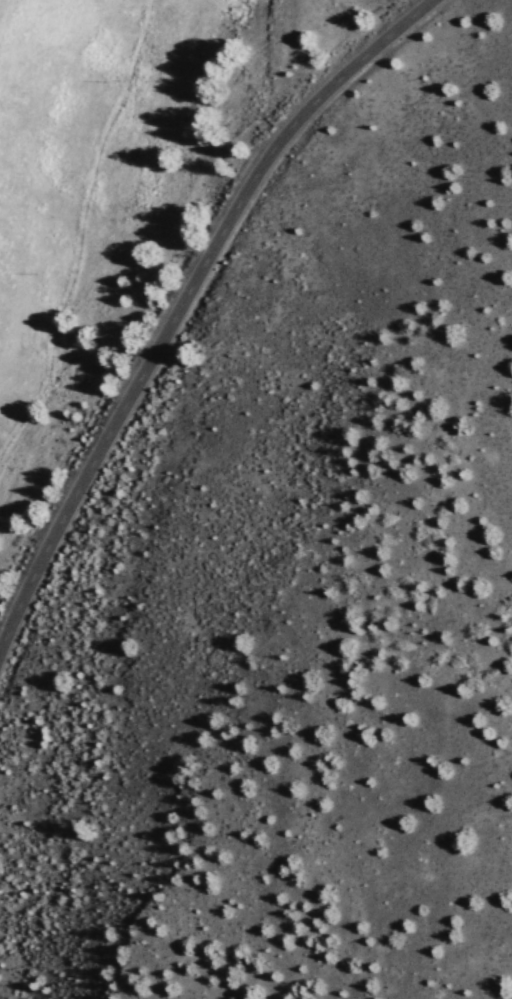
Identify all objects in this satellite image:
road: (186, 306)

